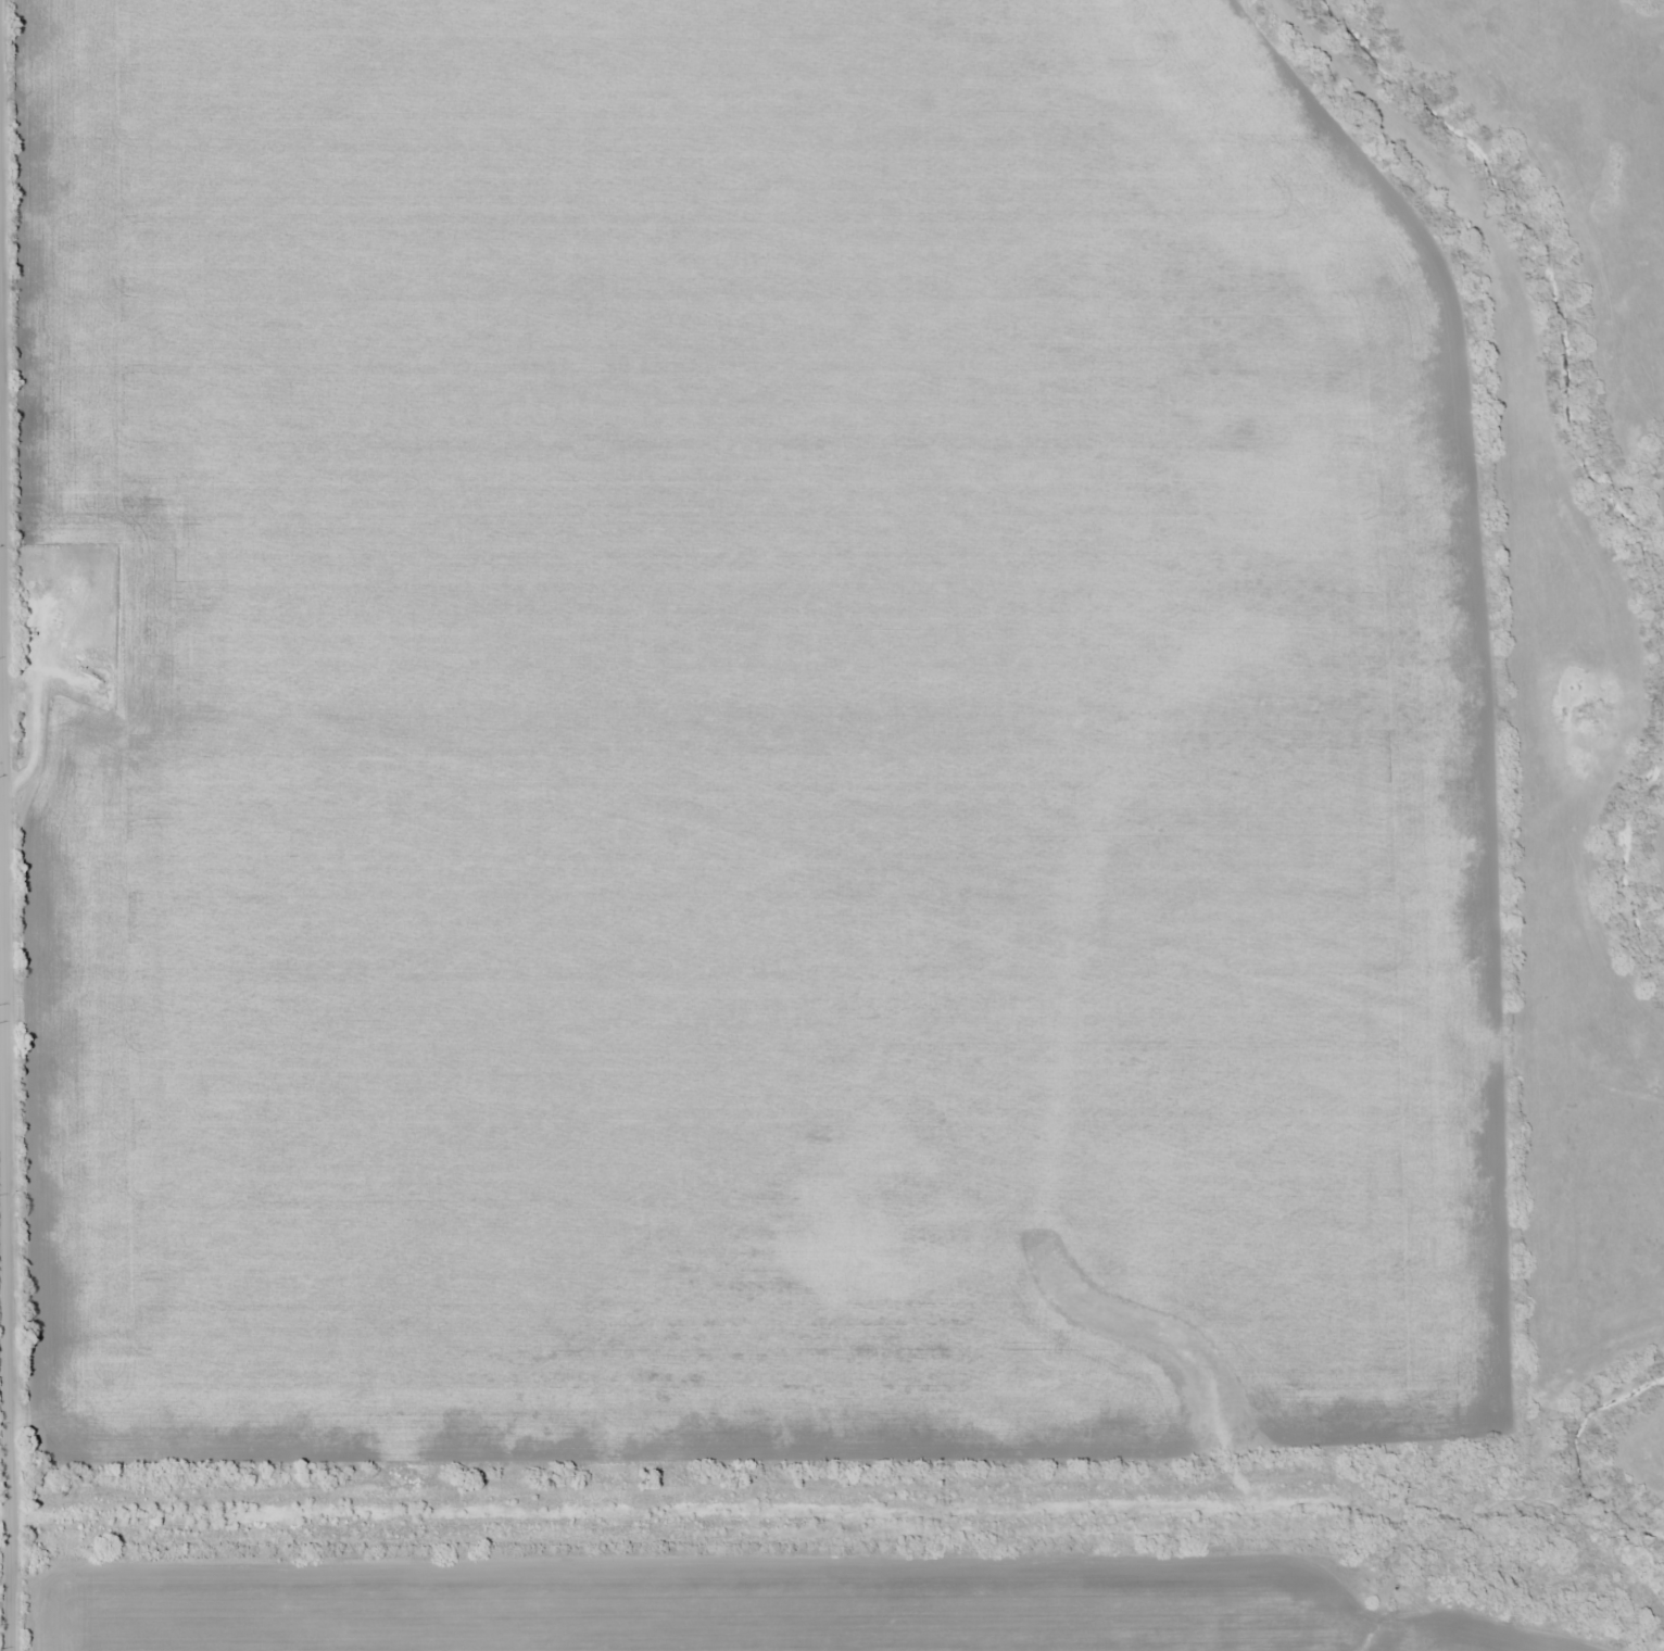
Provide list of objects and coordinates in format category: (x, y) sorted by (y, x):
road: (3, 1151)
airport: (0, 1503)

